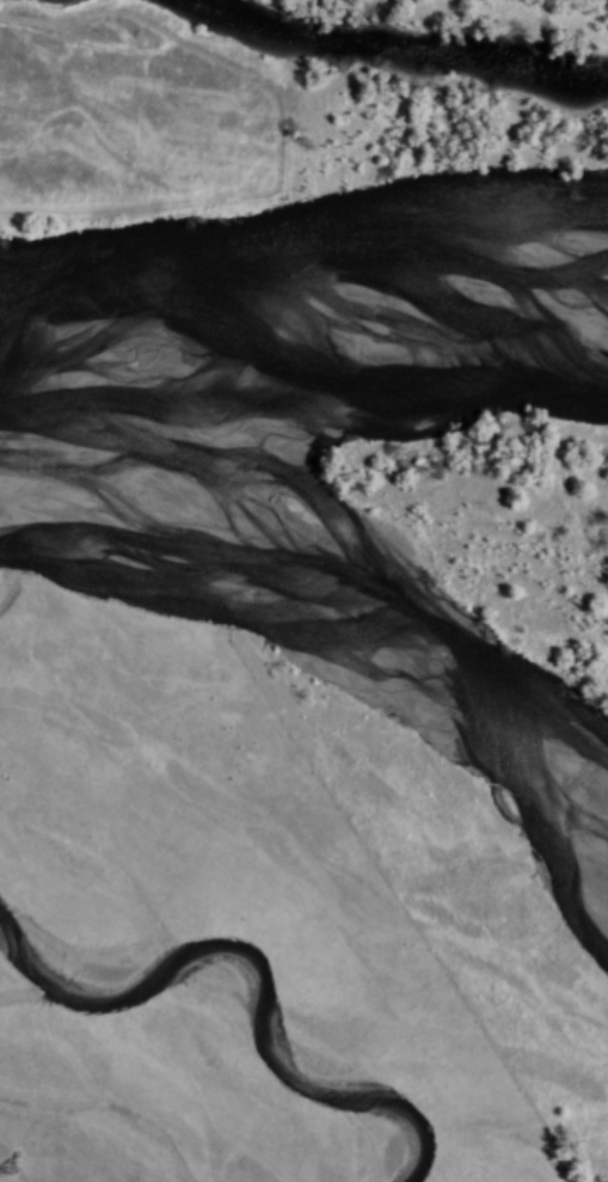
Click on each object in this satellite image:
river: (312, 598)

